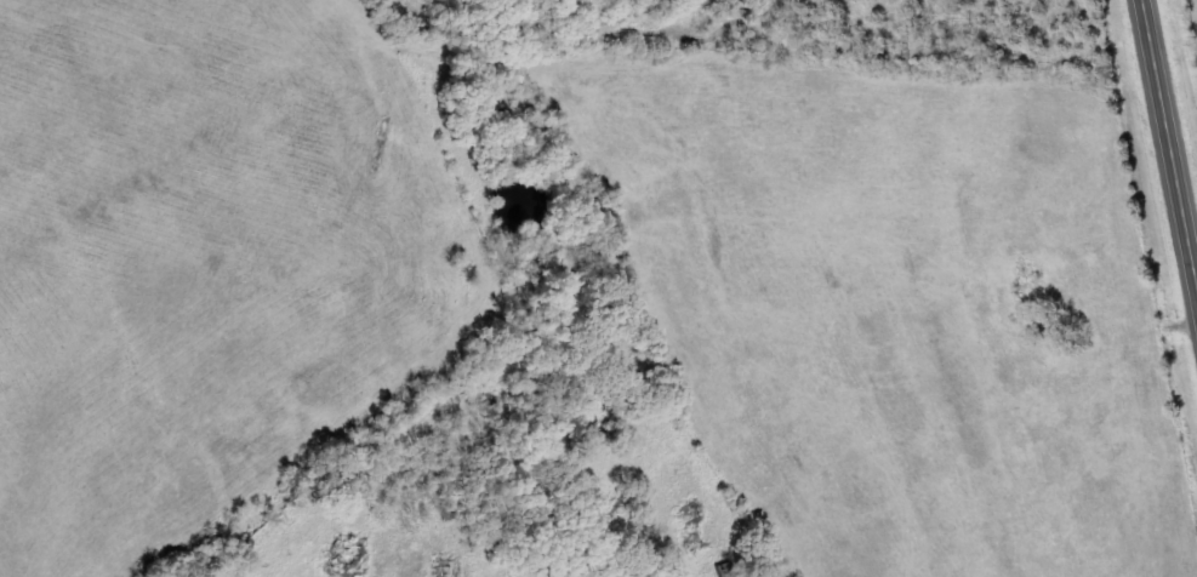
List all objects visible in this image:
road: (1174, 135)
building: (728, 570)

